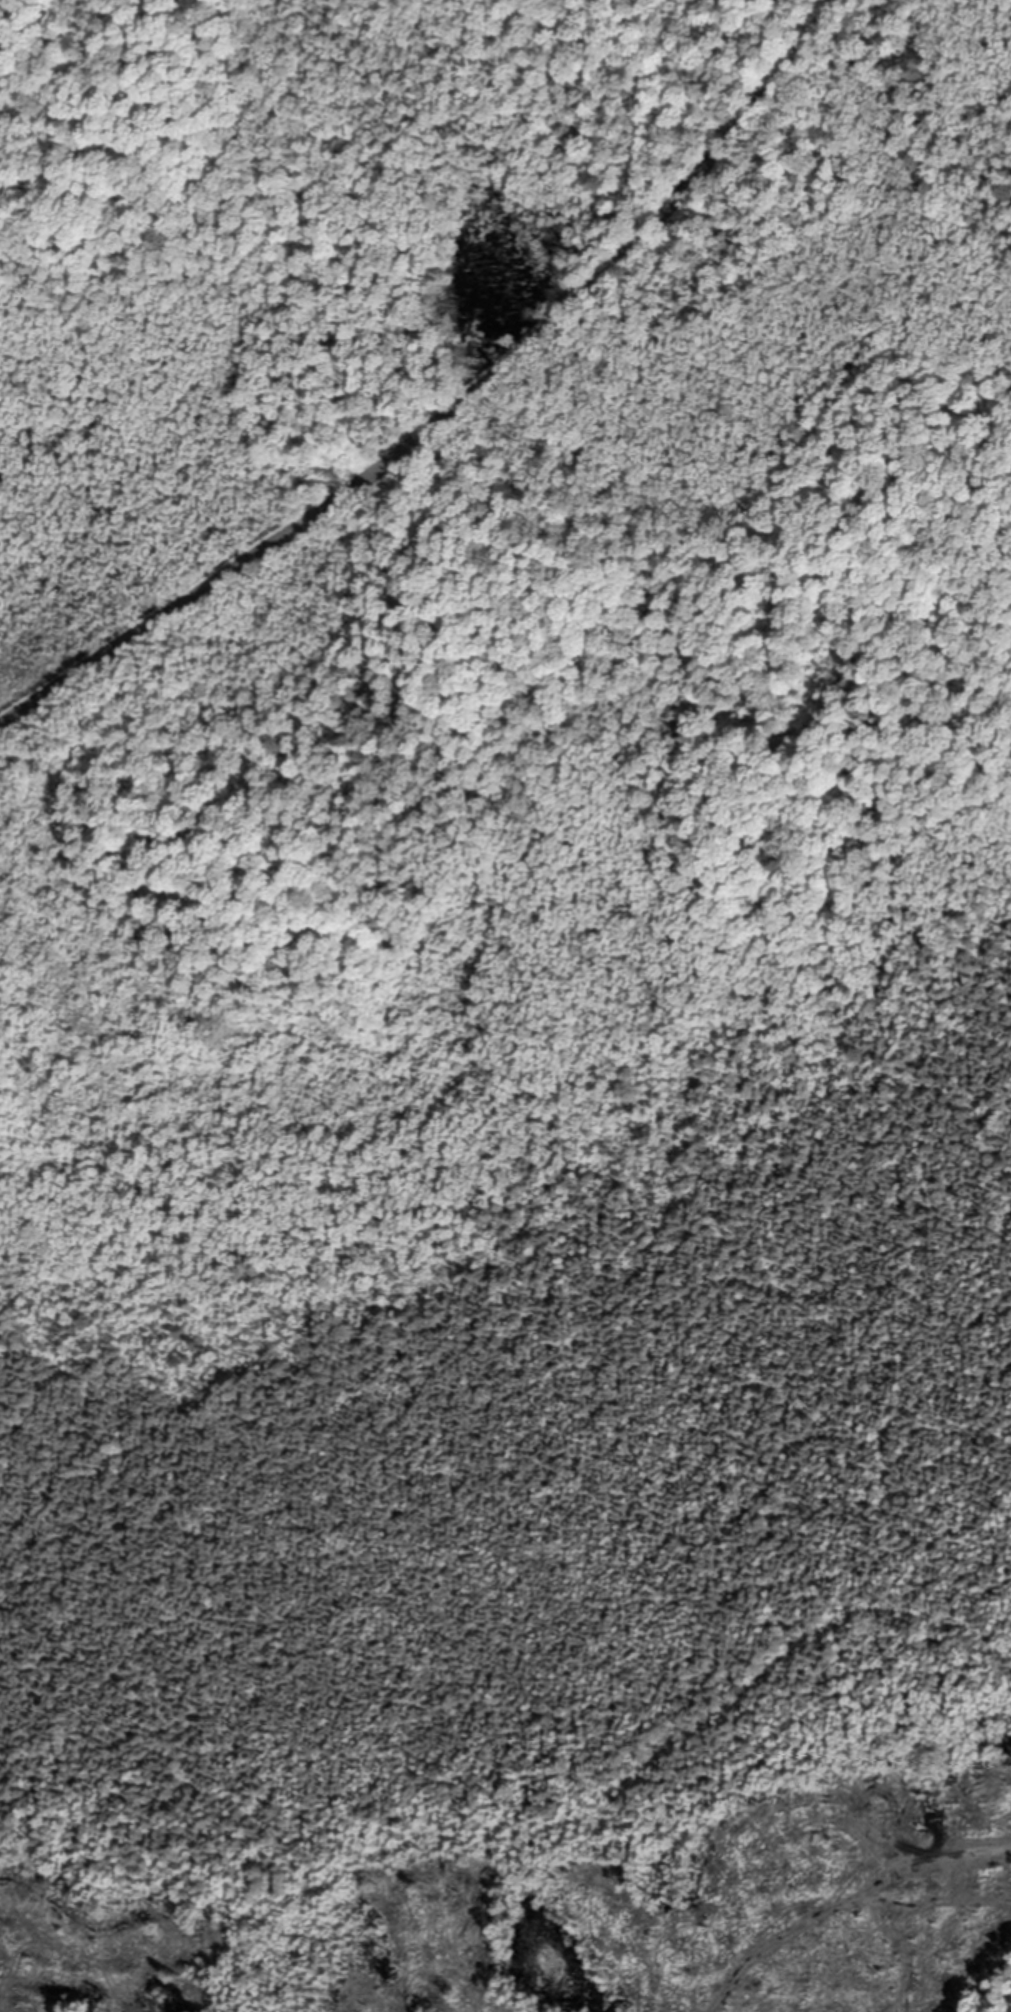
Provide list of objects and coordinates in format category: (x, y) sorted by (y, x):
road: (458, 407)
road: (988, 1986)

